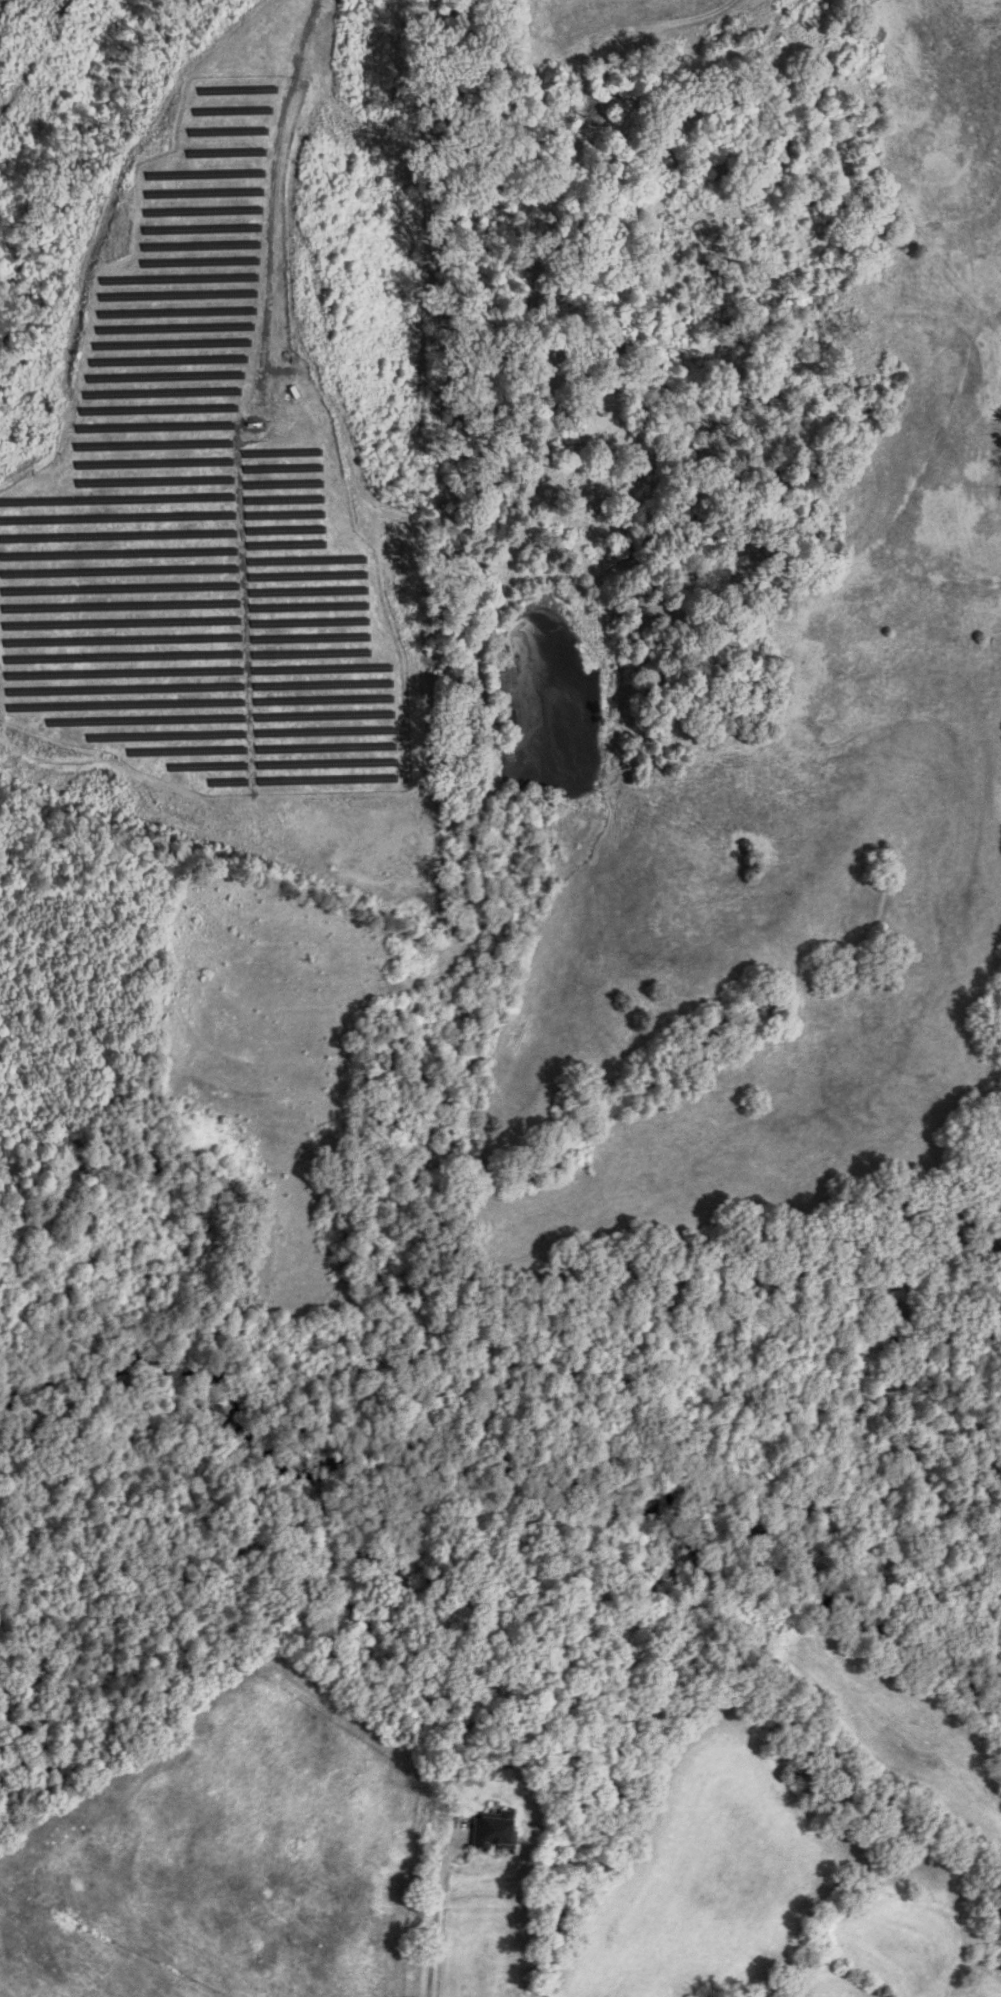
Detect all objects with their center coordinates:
road: (621, 14)
road: (272, 189)
building: (497, 1831)
road: (436, 1913)
building: (1000, 1969)

